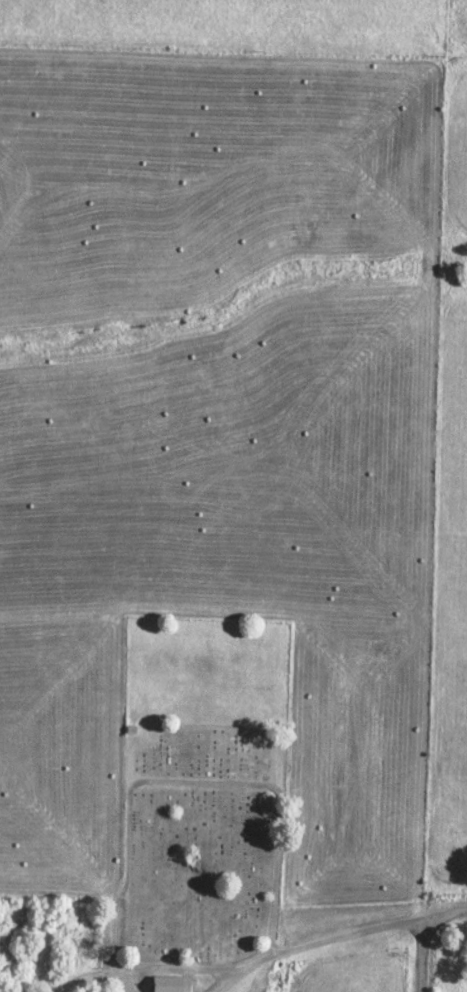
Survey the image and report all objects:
park: (200, 789)
road: (444, 914)
road: (328, 937)
road: (420, 956)
road: (174, 968)
road: (227, 979)
building: (167, 985)

